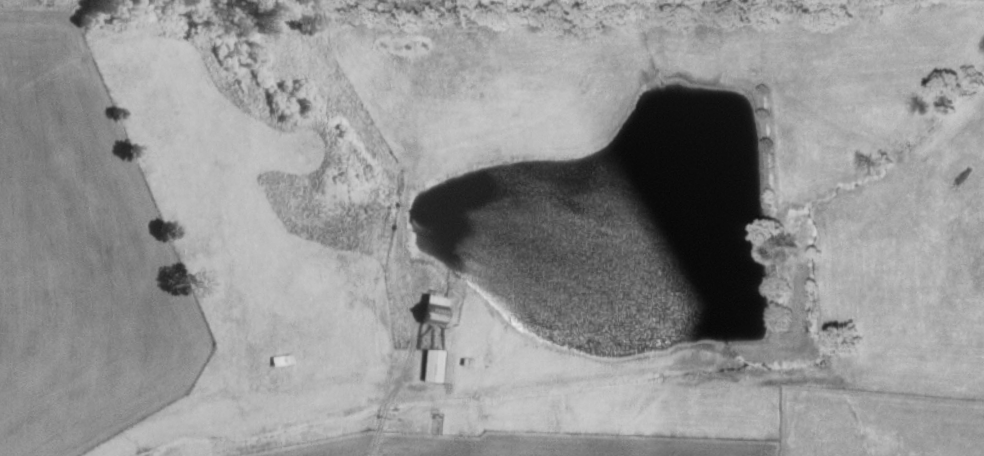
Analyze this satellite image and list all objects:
building: (434, 309)
building: (433, 365)
road: (387, 404)

